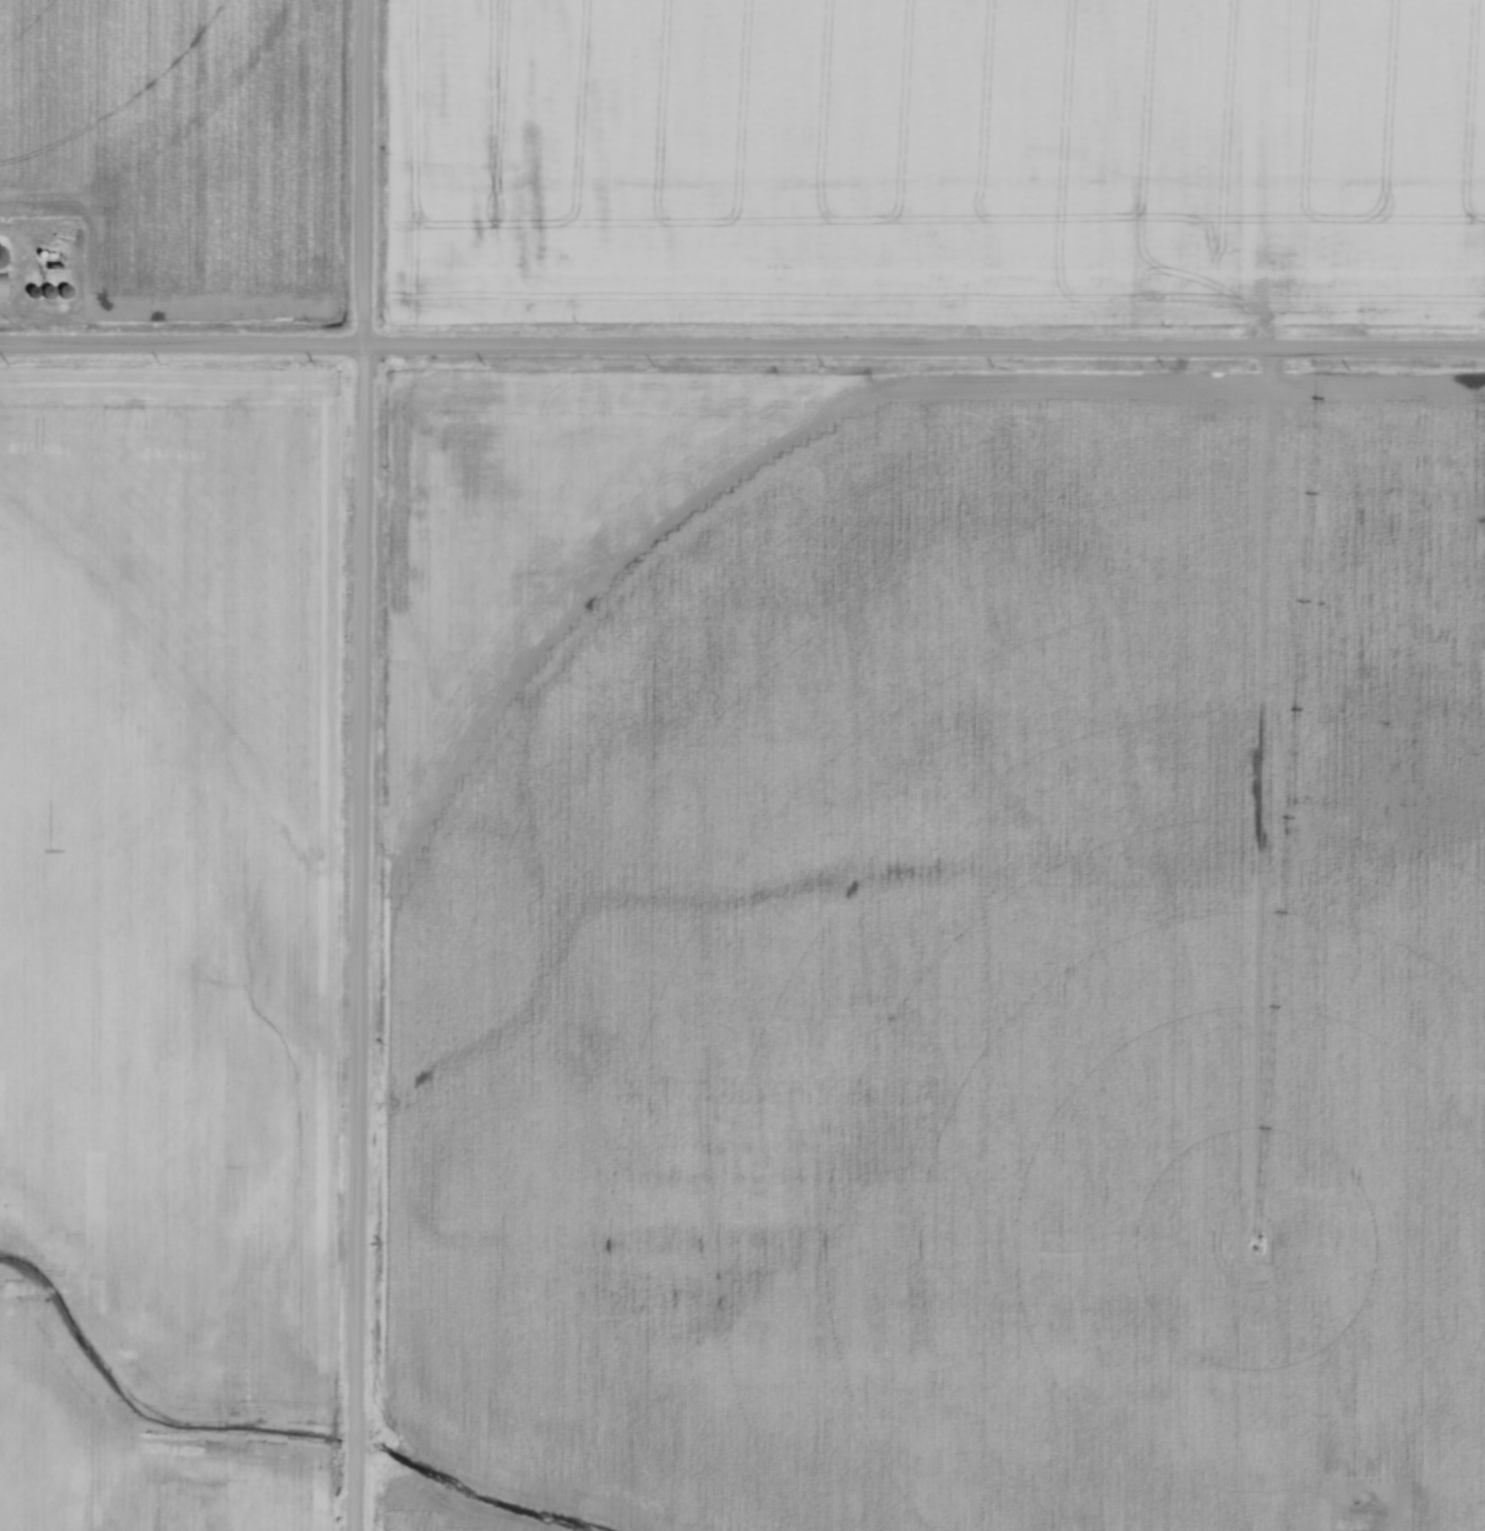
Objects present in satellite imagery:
road: (742, 351)
road: (361, 765)

